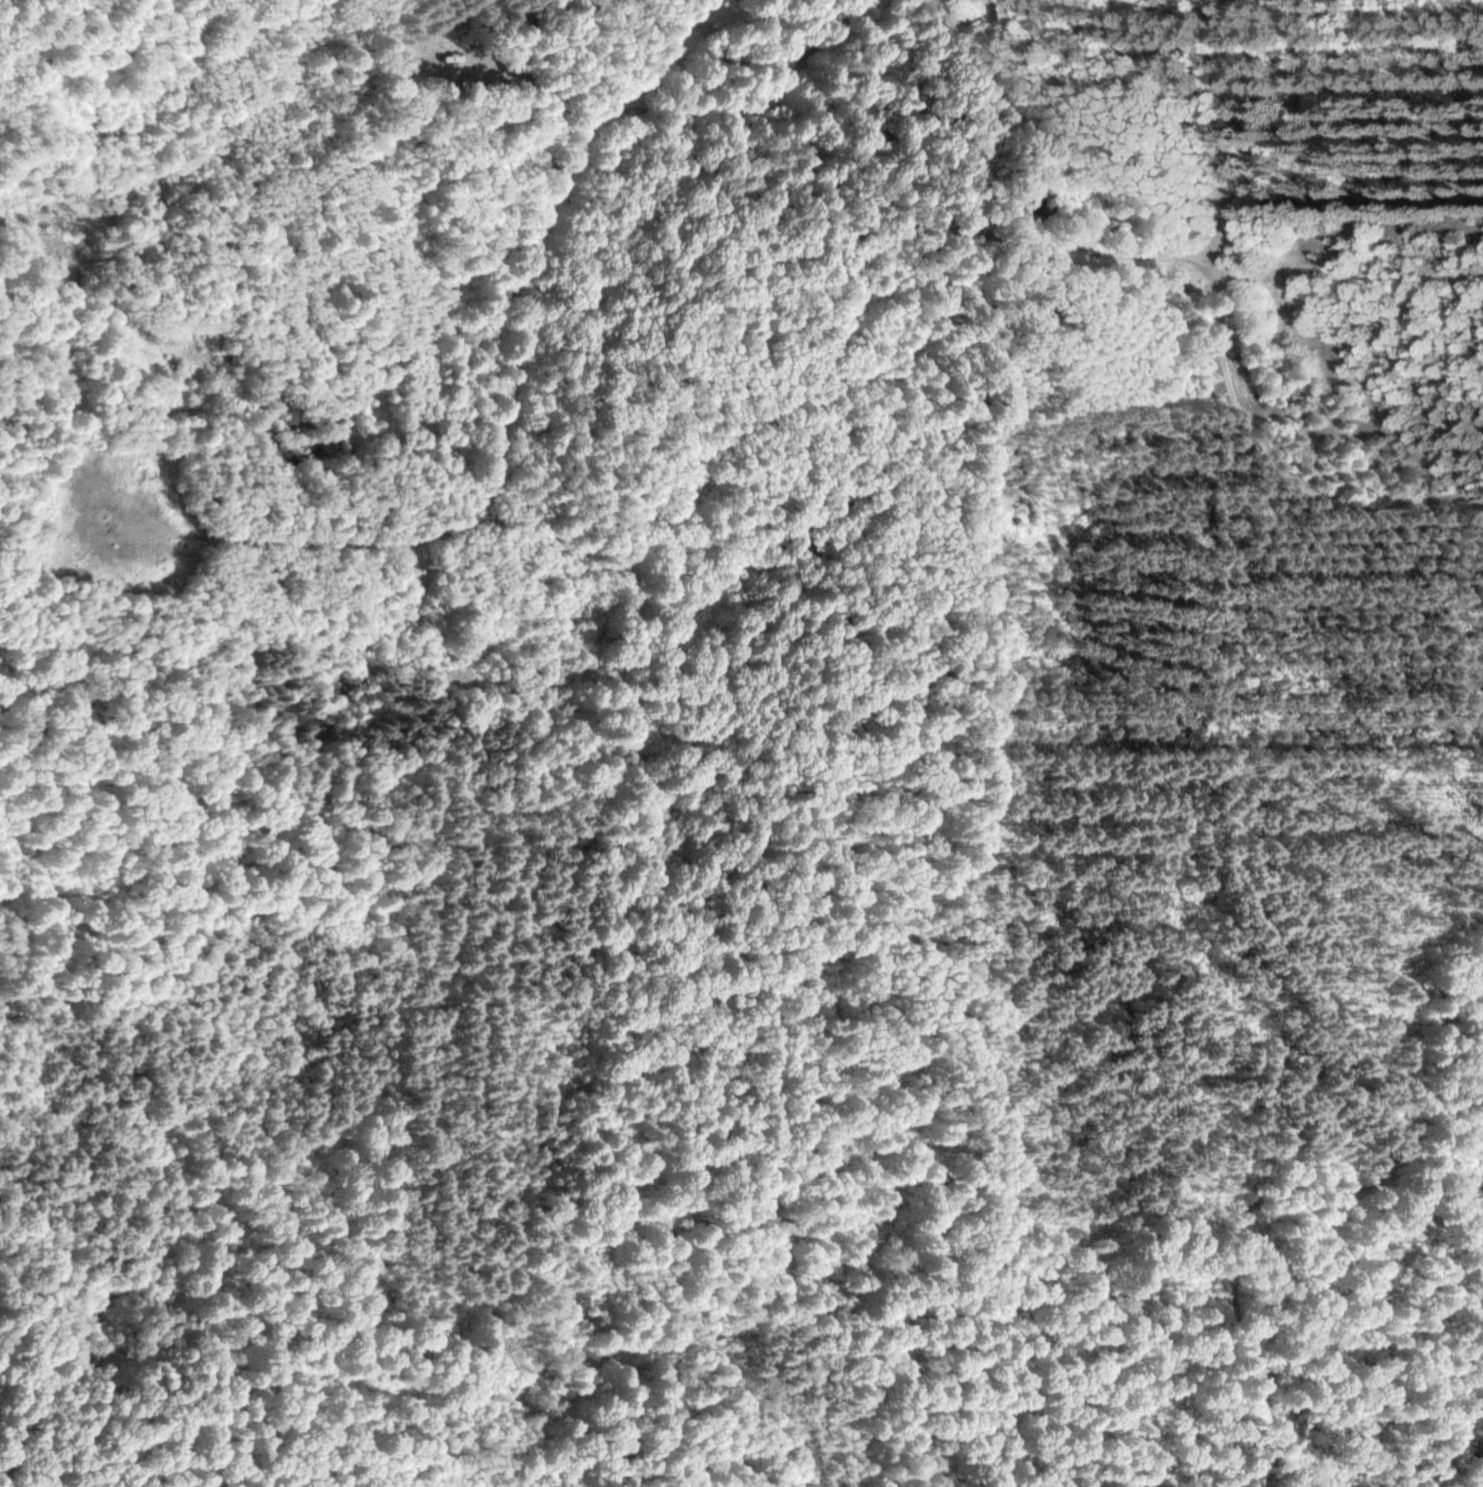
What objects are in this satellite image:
road: (980, 113)

